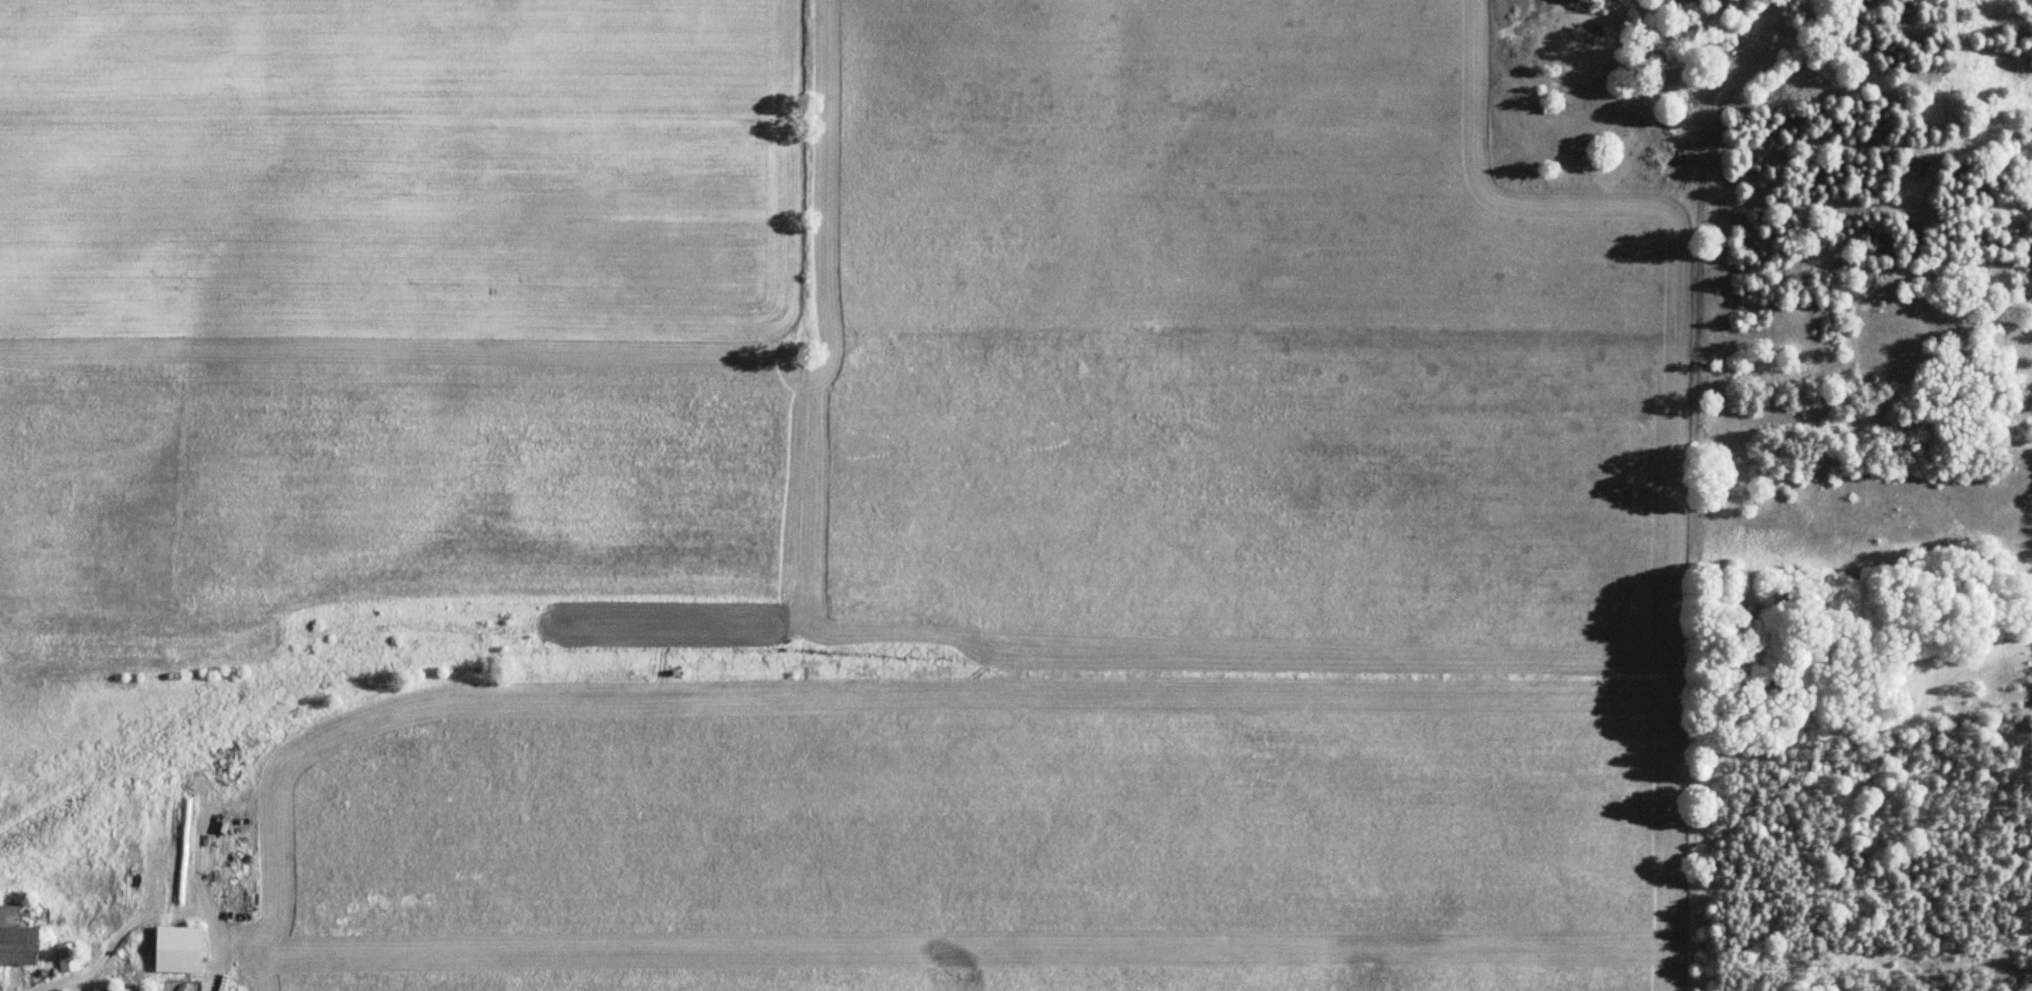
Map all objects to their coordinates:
building: (14, 935)
building: (172, 950)
building: (64, 957)
building: (117, 989)

